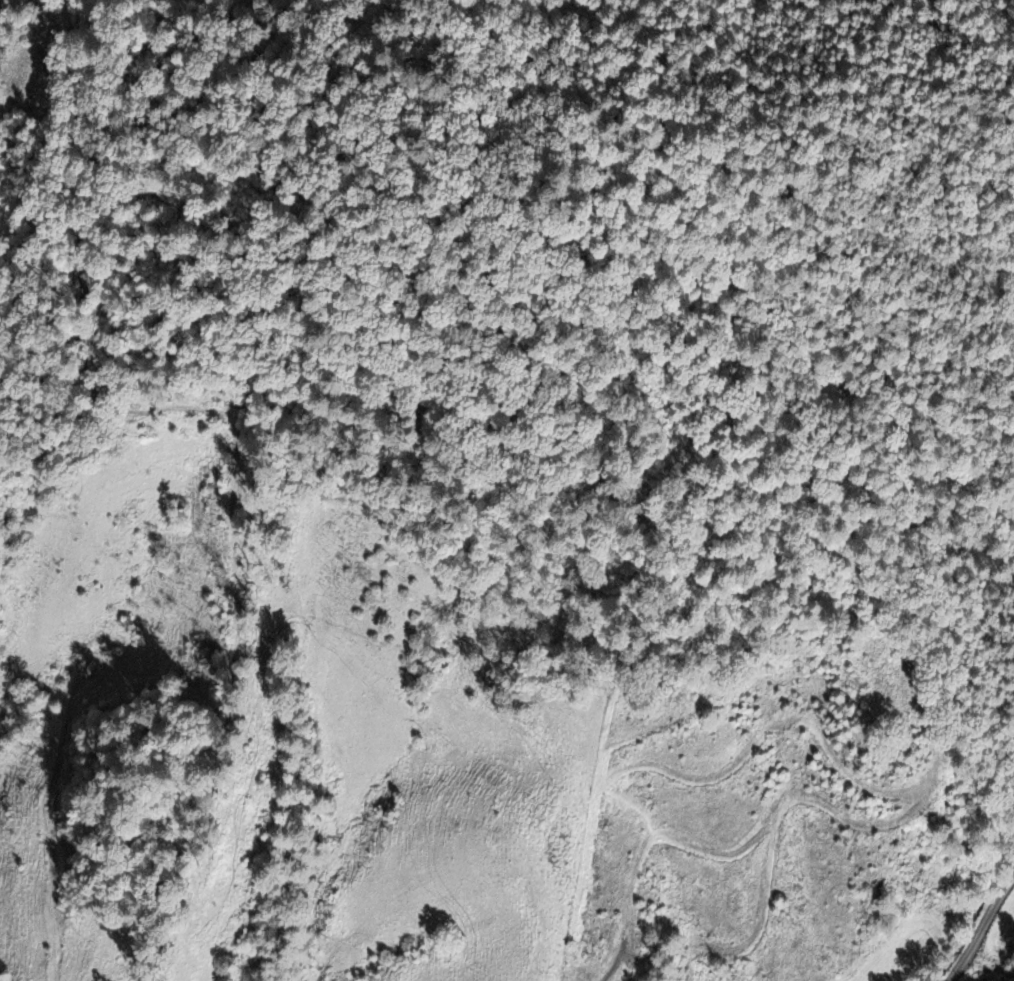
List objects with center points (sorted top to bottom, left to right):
road: (978, 928)

